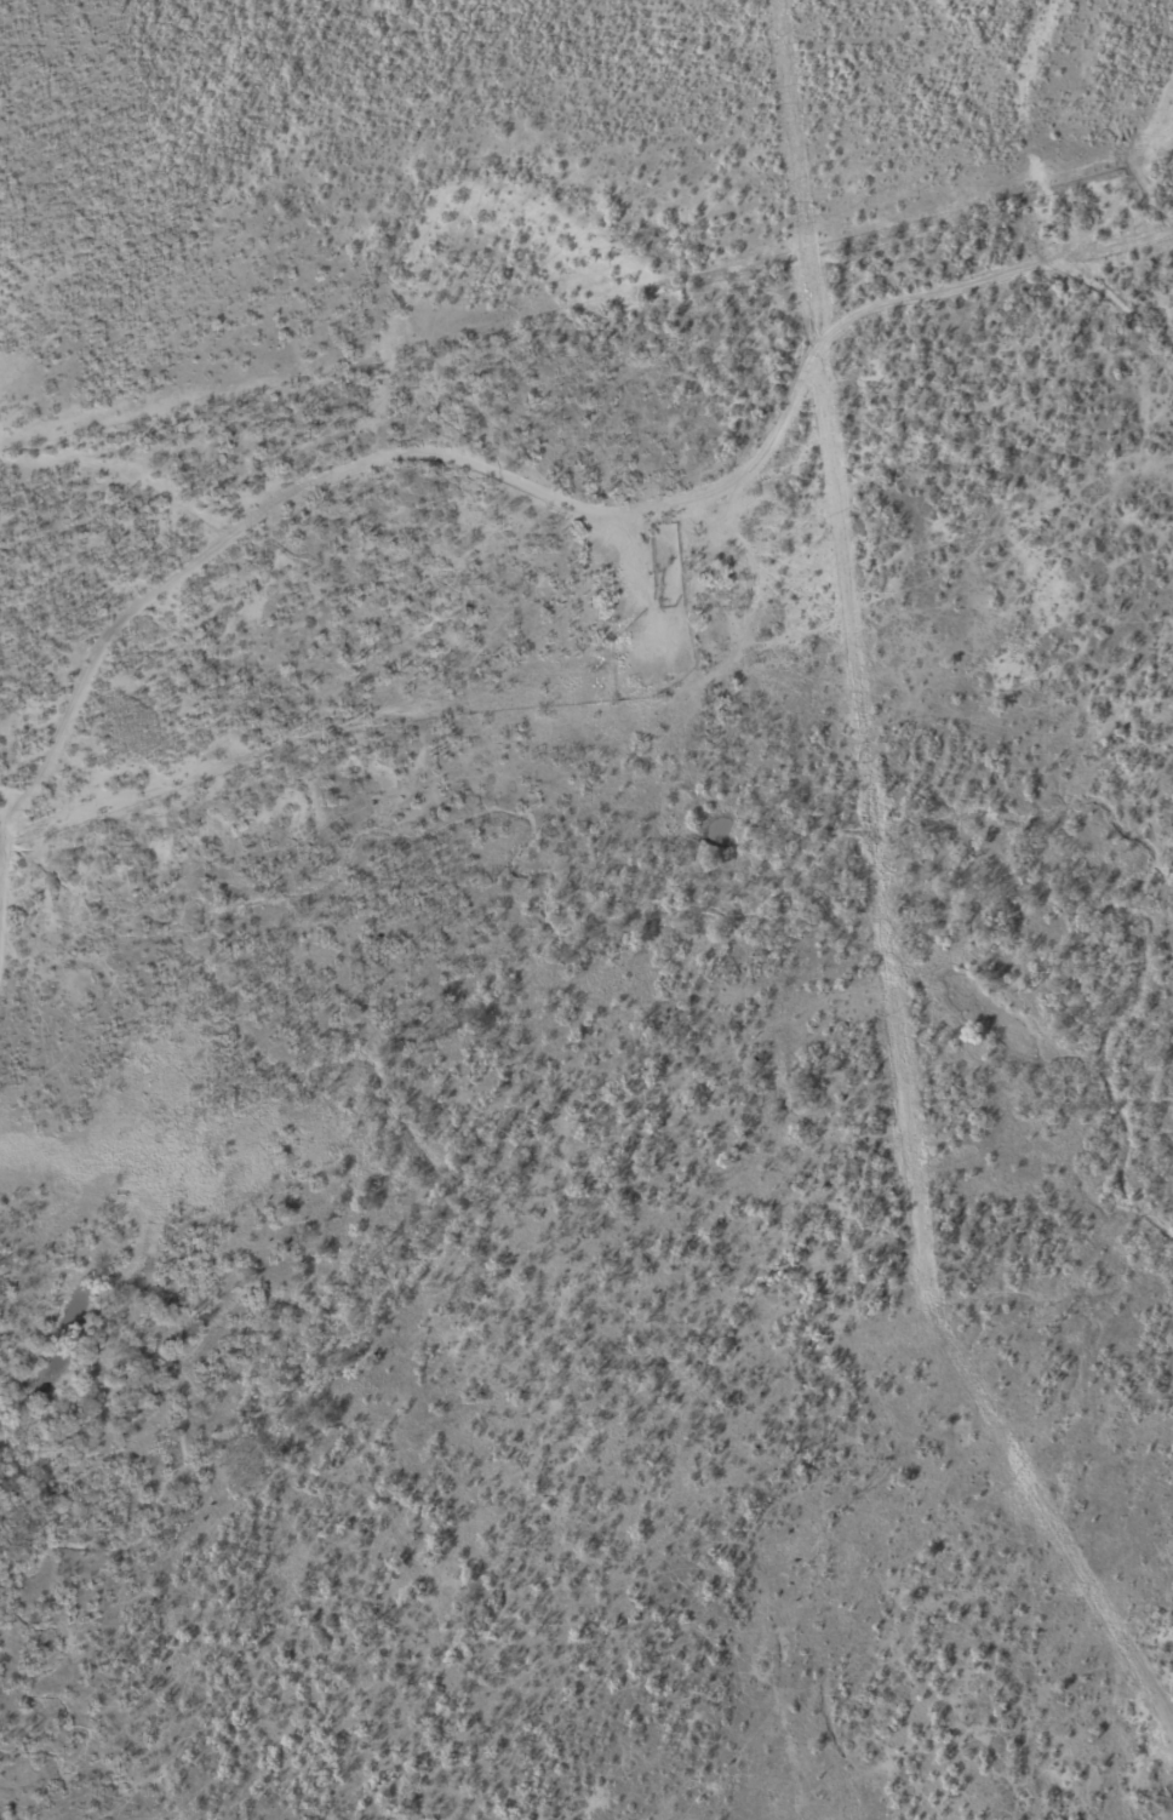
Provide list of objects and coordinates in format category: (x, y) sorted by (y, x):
road: (453, 464)

